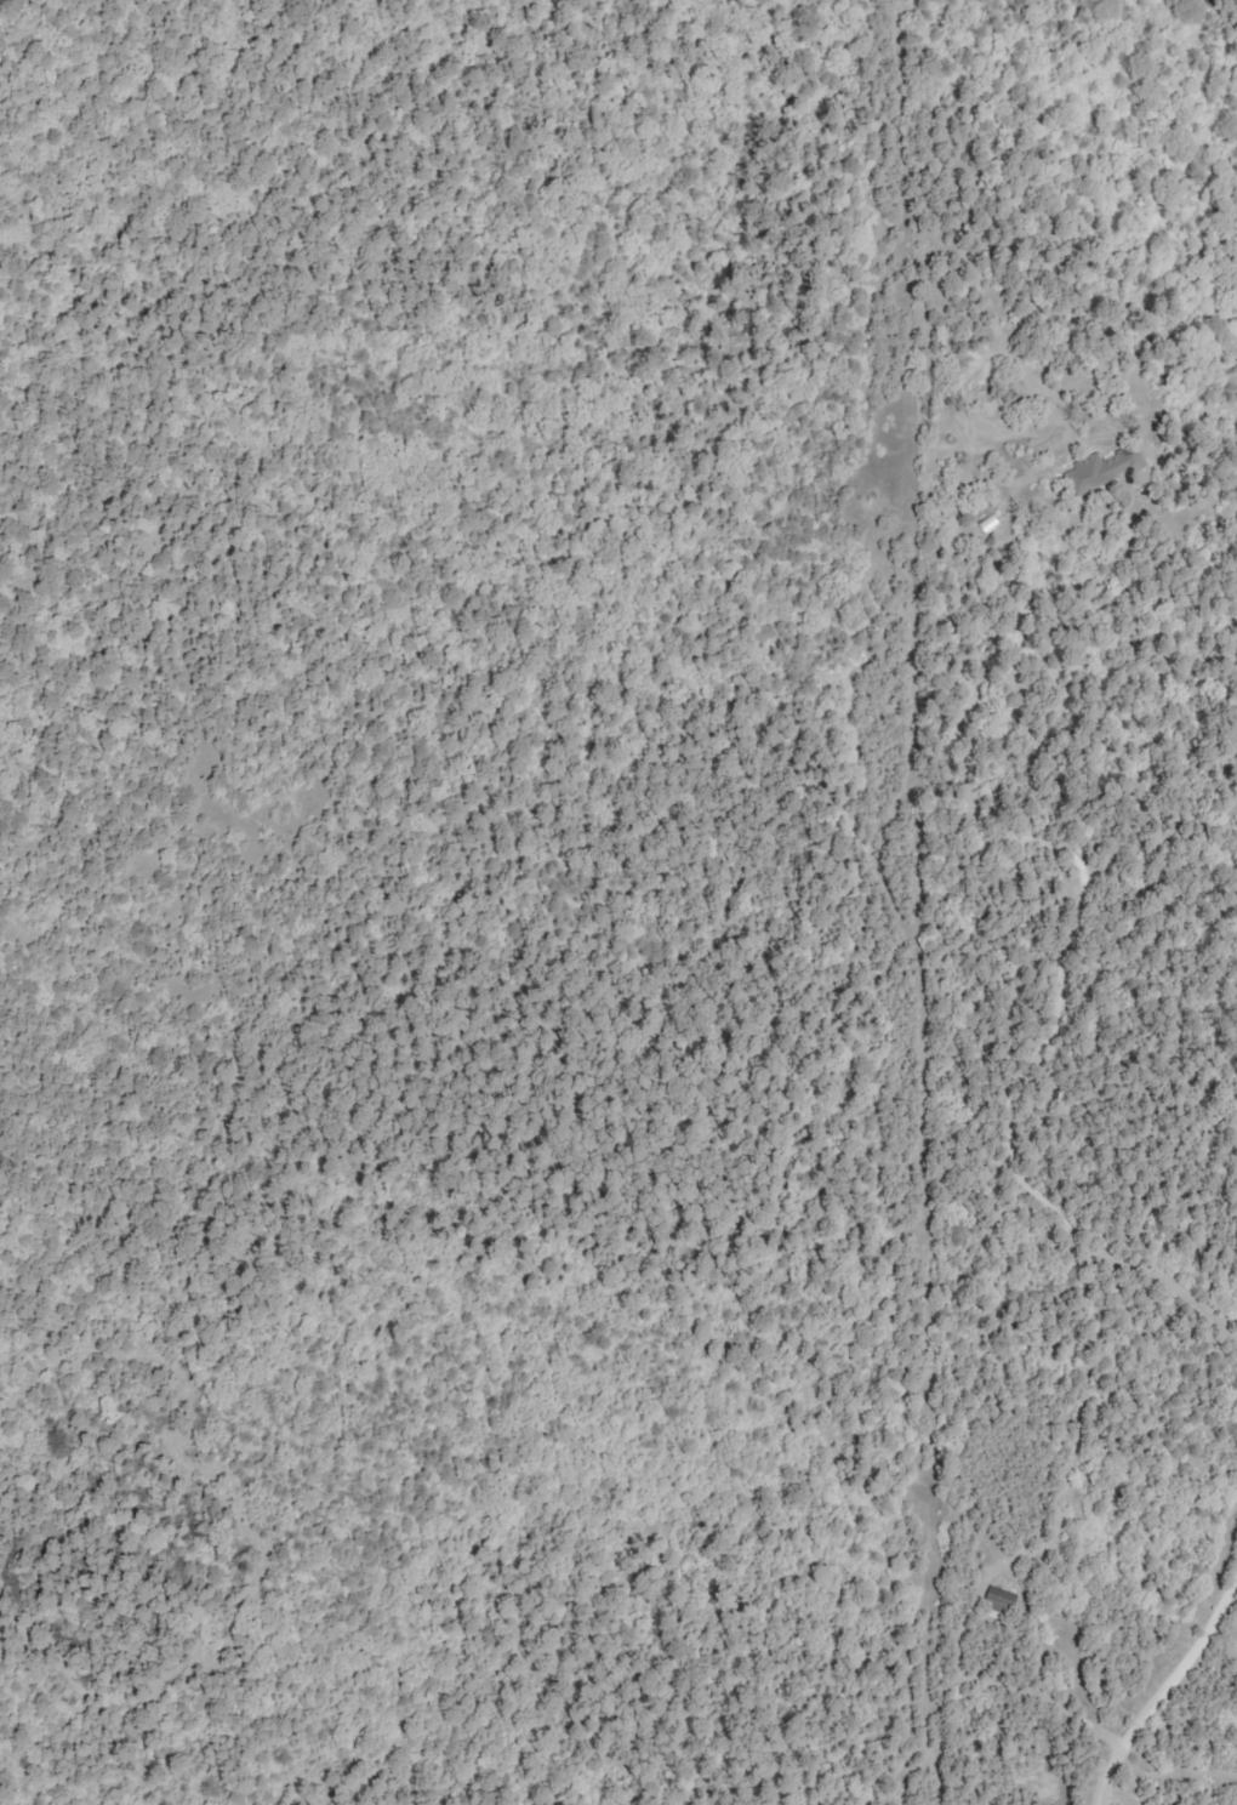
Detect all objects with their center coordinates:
building: (1105, 472)
building: (1001, 1604)
road: (1165, 1686)

